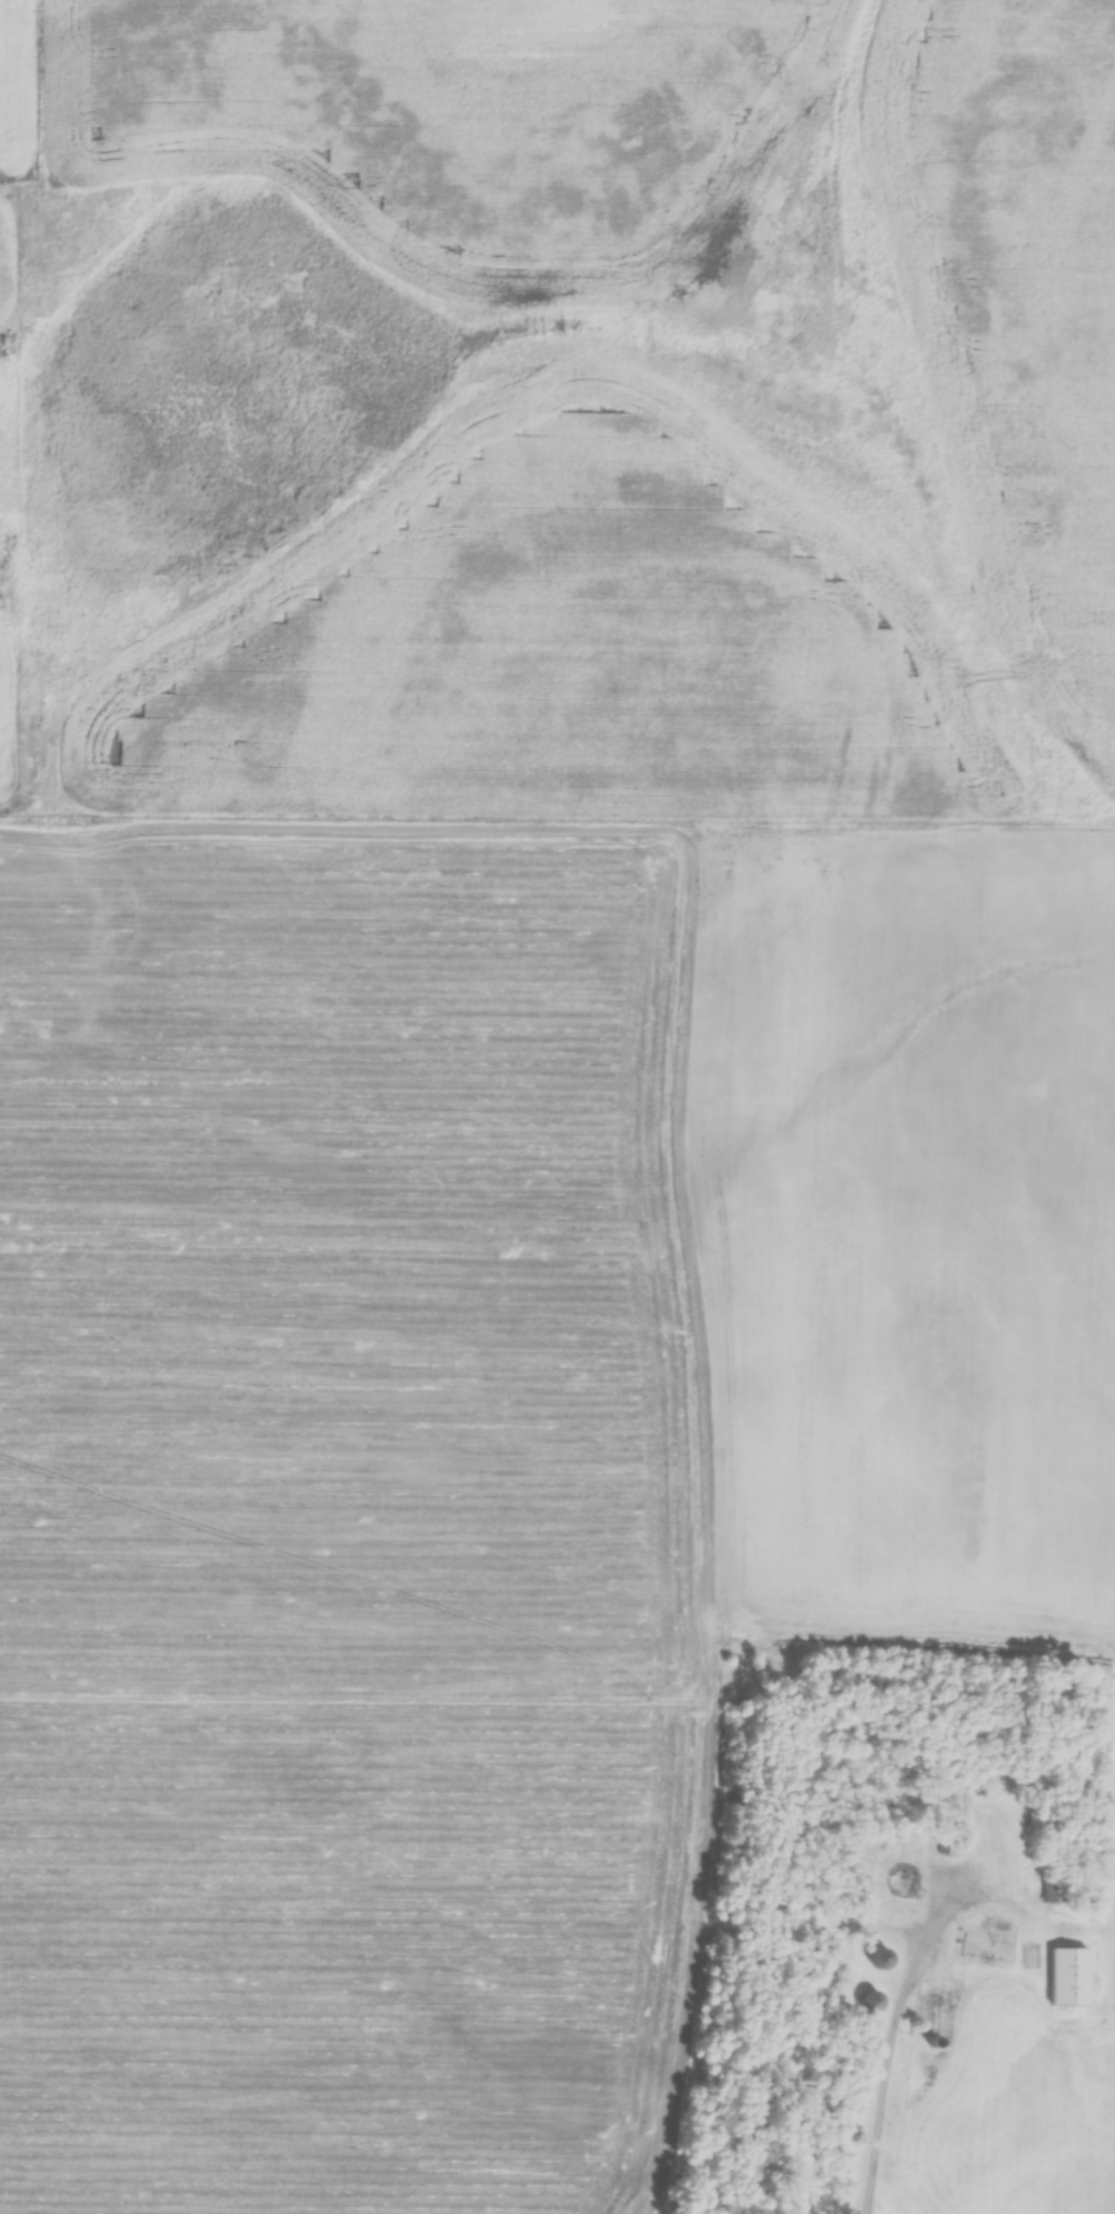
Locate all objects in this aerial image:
building: (878, 1958)
building: (1067, 1976)
building: (869, 2002)
building: (938, 2009)
road: (887, 2042)

